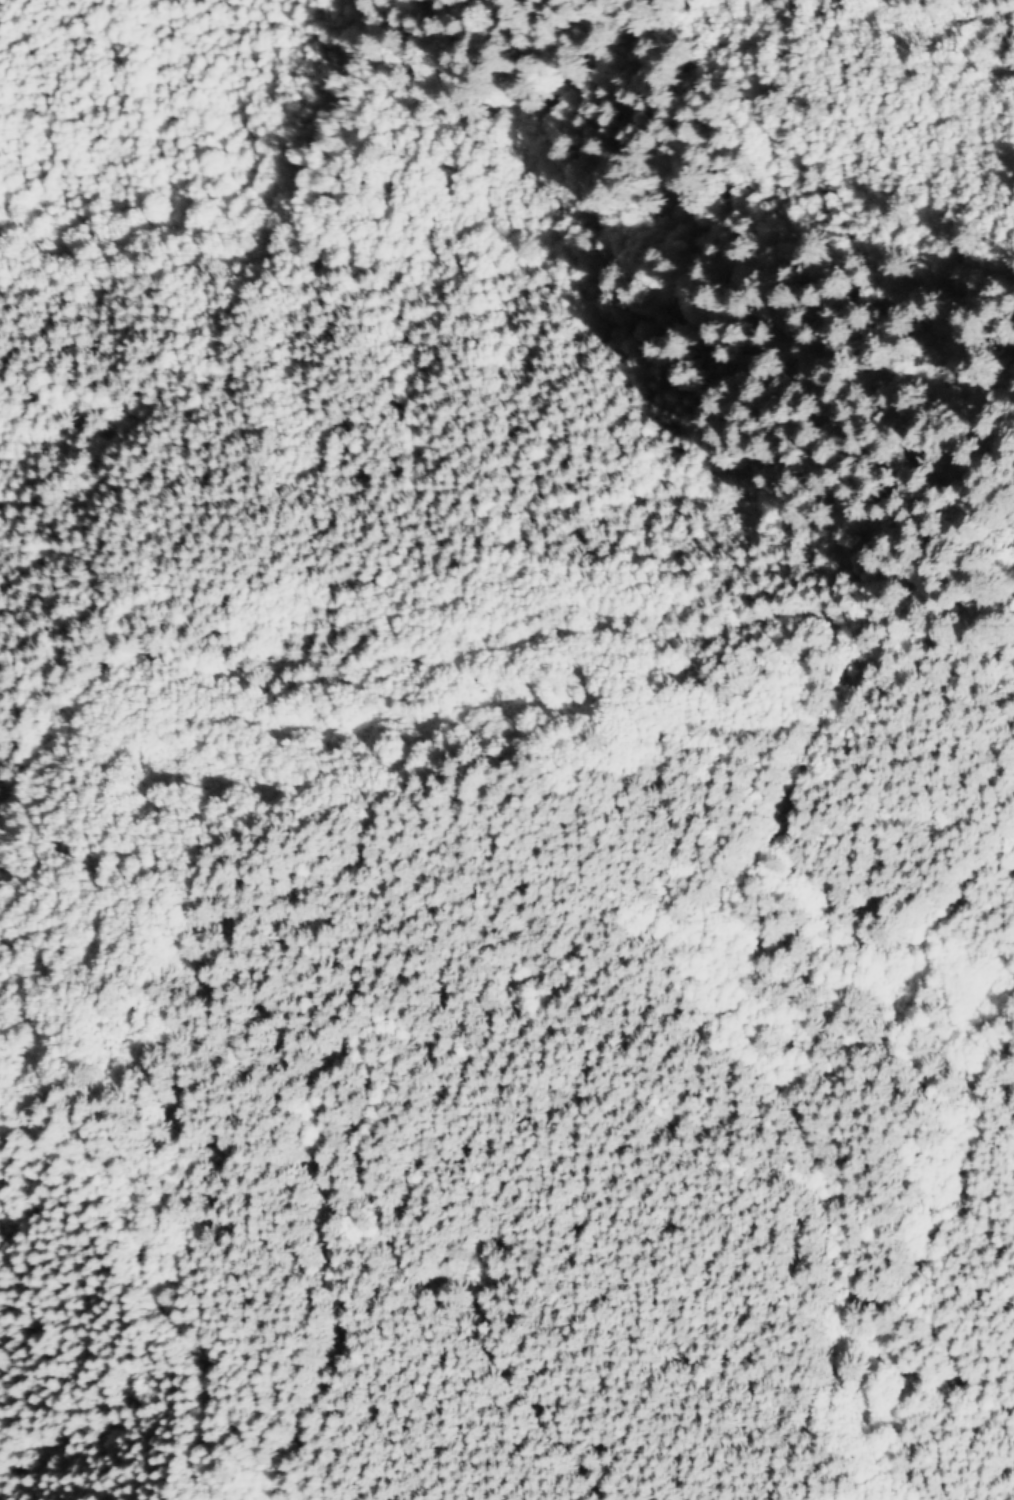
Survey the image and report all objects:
road: (661, 643)
road: (897, 969)
road: (921, 1248)
road: (435, 1306)
road: (838, 1322)

